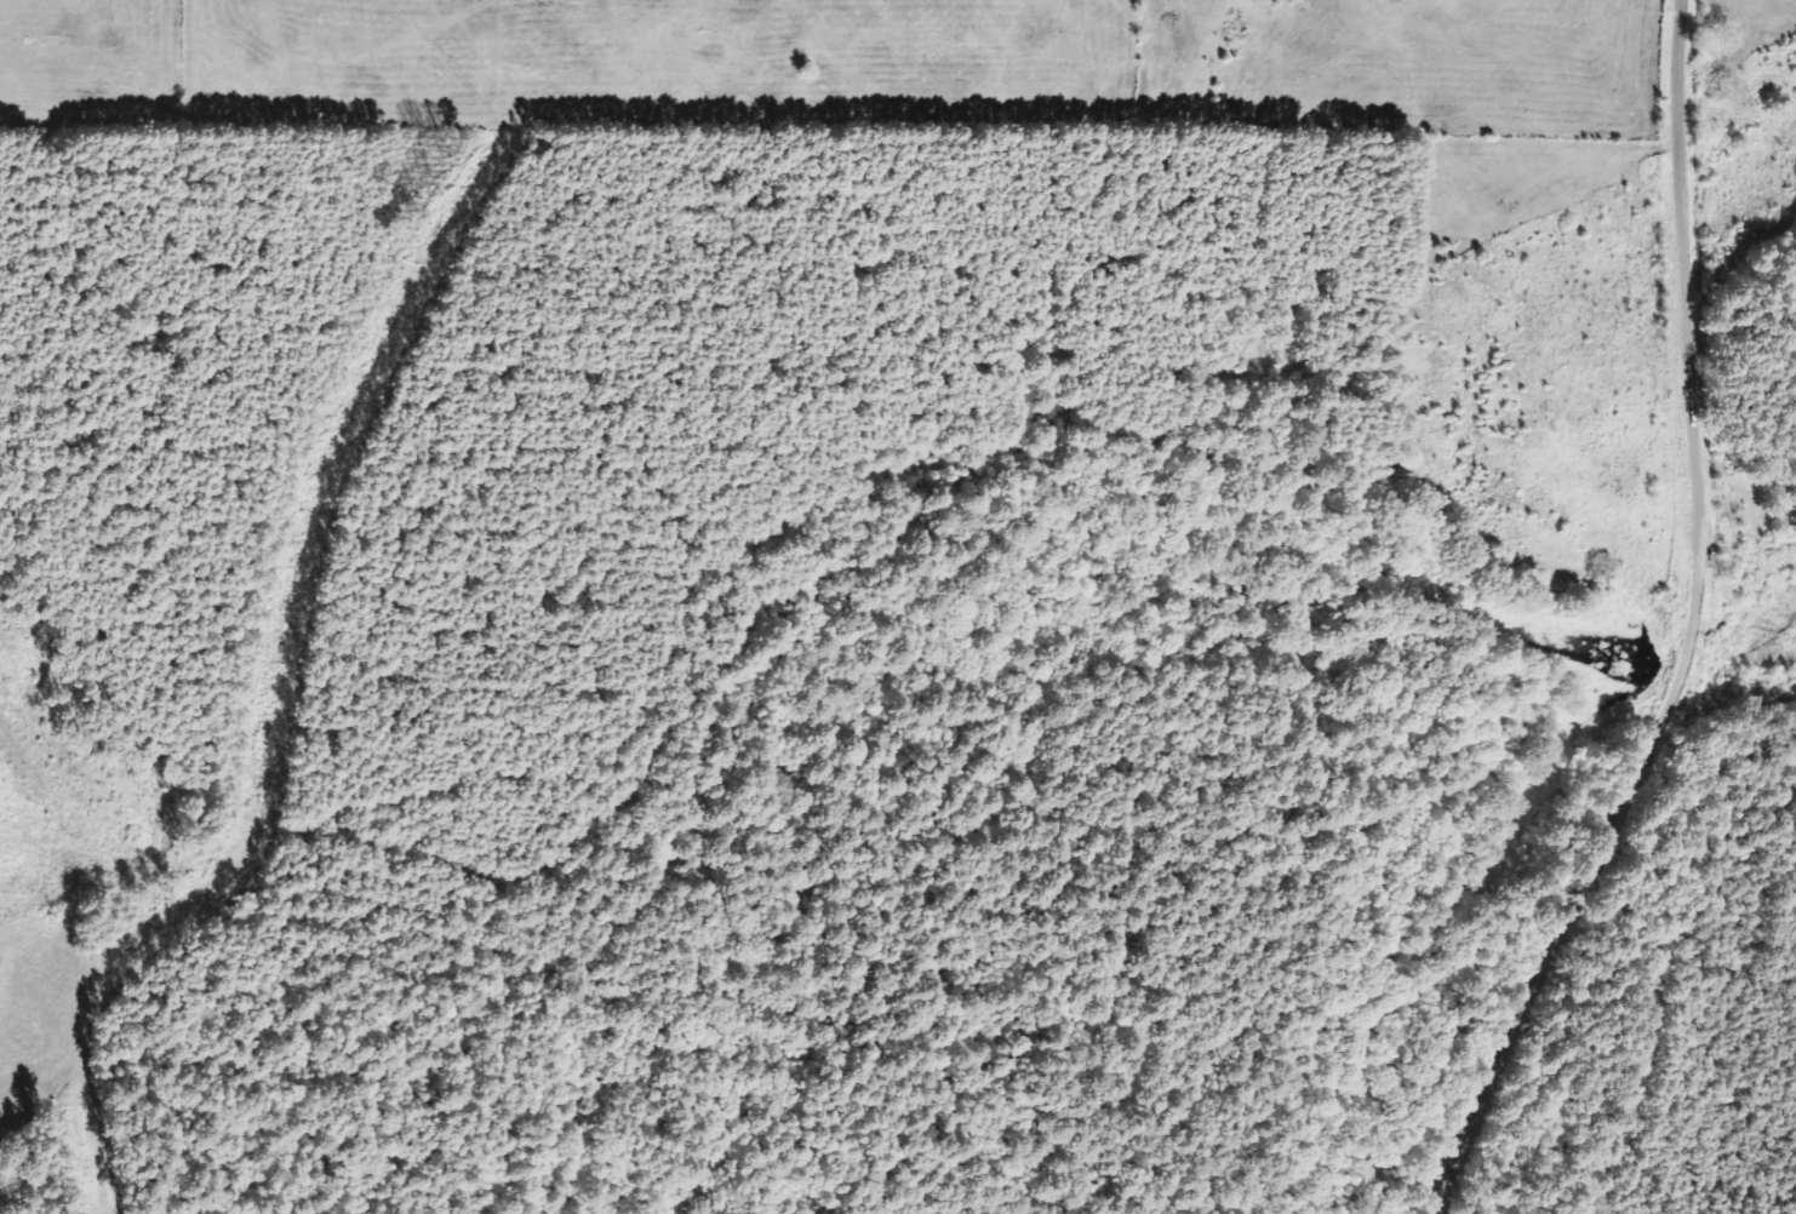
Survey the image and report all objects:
road: (1688, 632)

